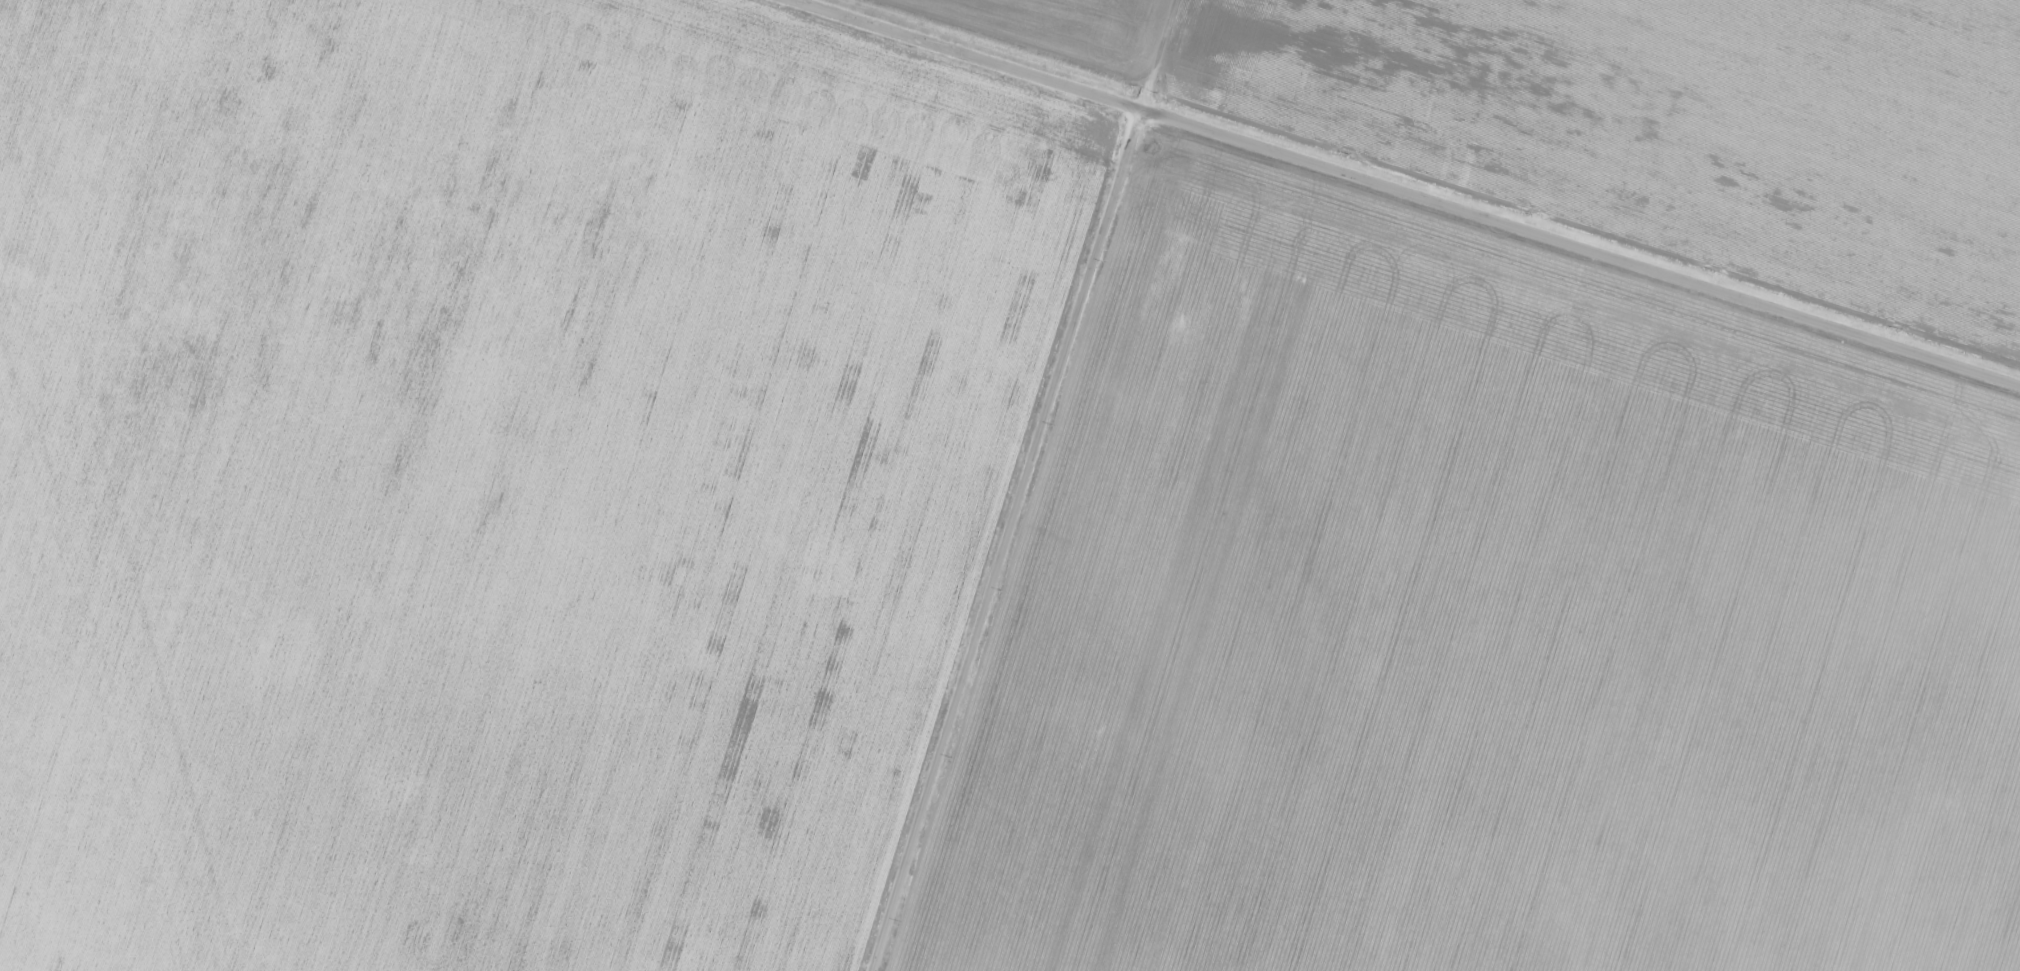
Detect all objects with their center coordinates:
road: (1438, 184)
road: (1007, 485)

